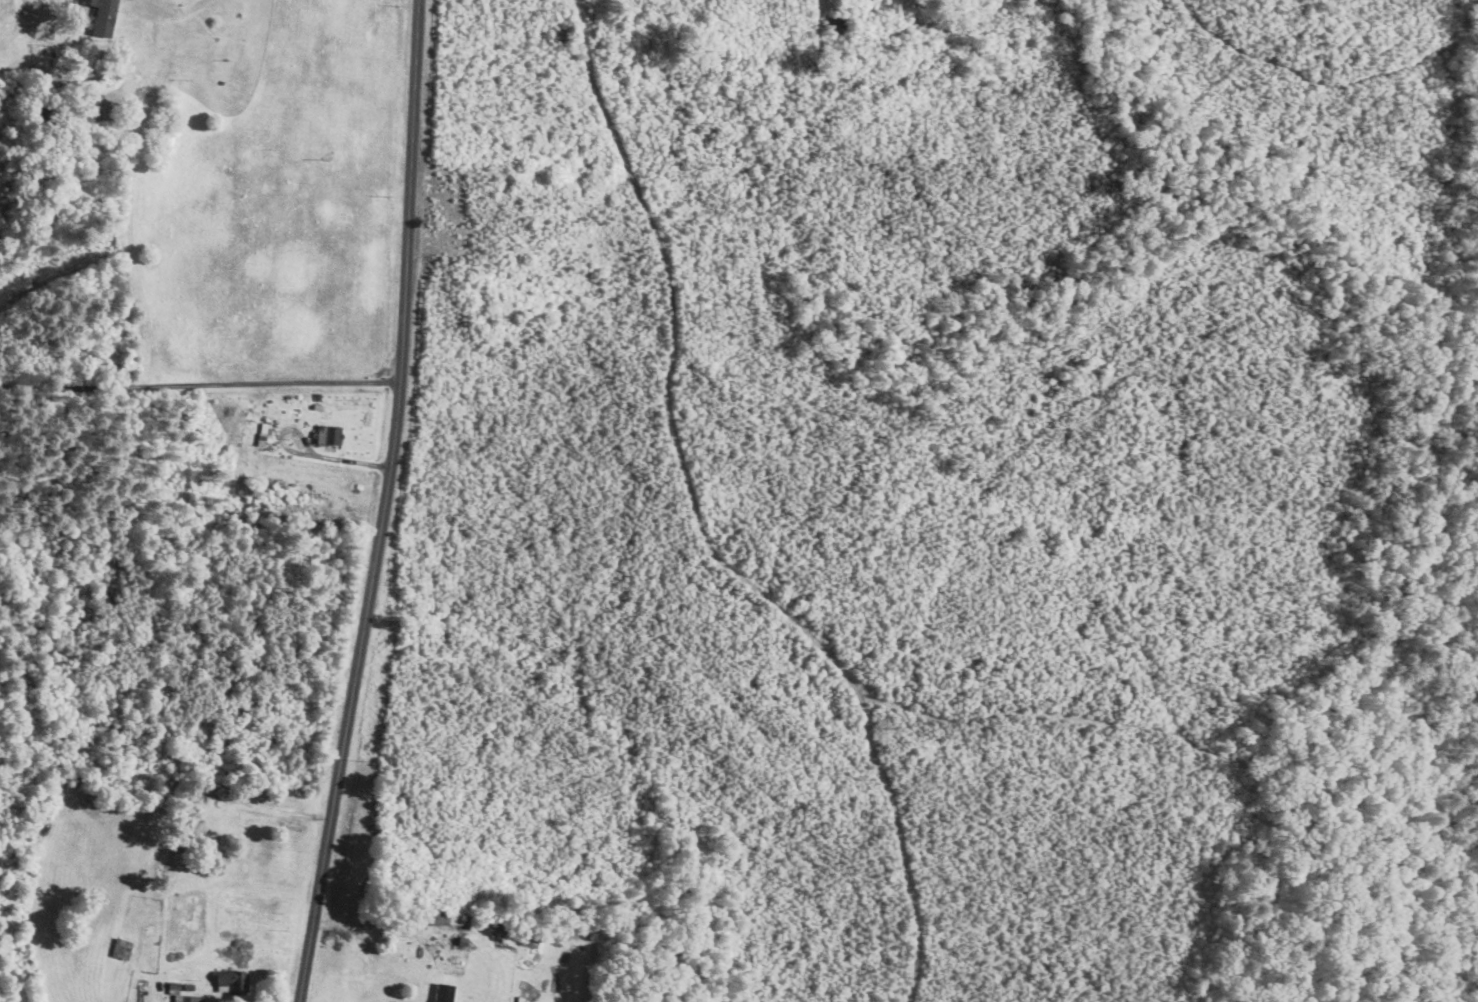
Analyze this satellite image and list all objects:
road: (170, 11)
building: (104, 17)
road: (200, 383)
building: (330, 436)
road: (305, 453)
road: (385, 503)
road: (380, 929)
building: (227, 980)
building: (444, 992)
building: (180, 998)

